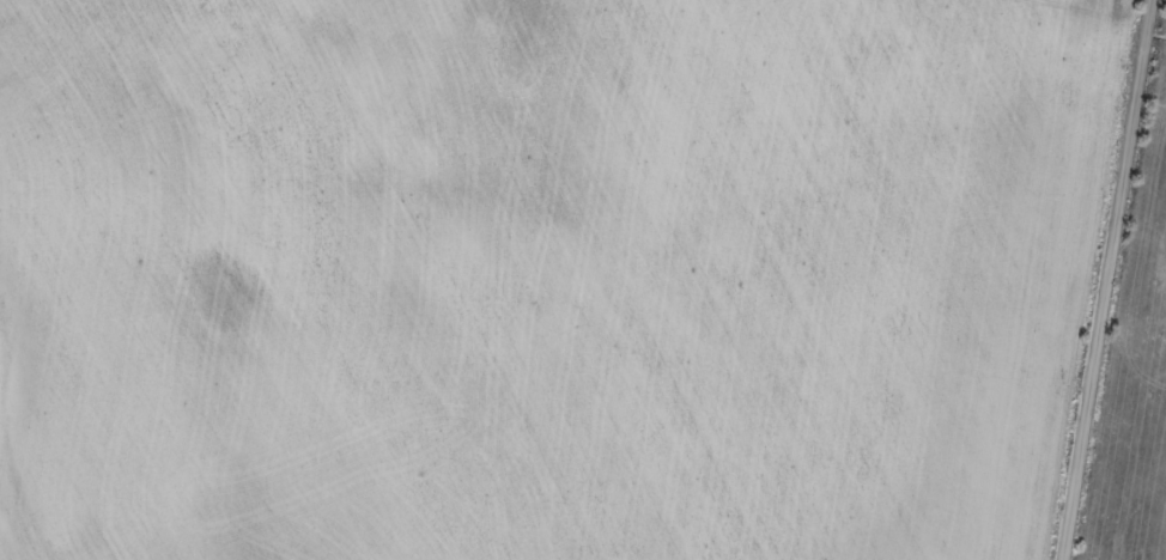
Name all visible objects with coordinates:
road: (1095, 280)

